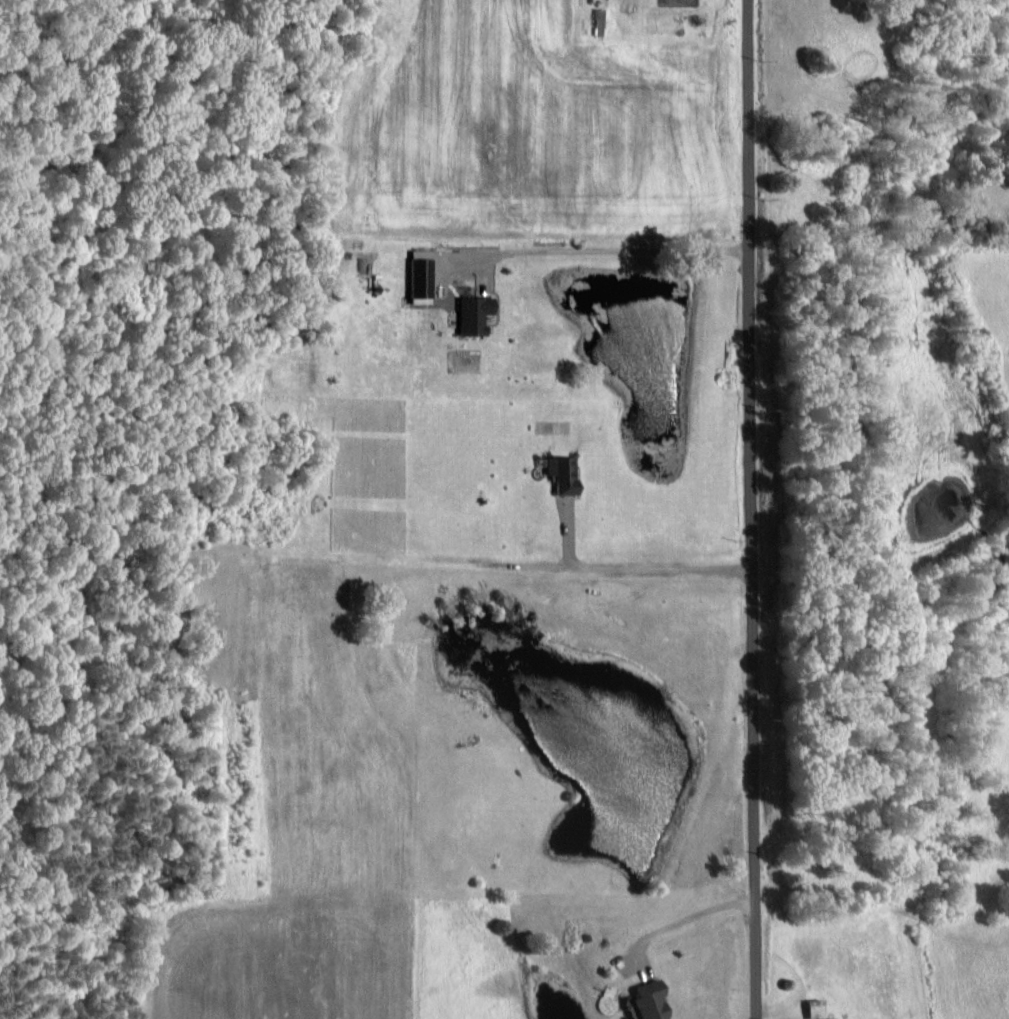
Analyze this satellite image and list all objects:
building: (418, 276)
building: (471, 315)
building: (561, 472)
road: (743, 509)
building: (648, 1000)
building: (811, 1008)

